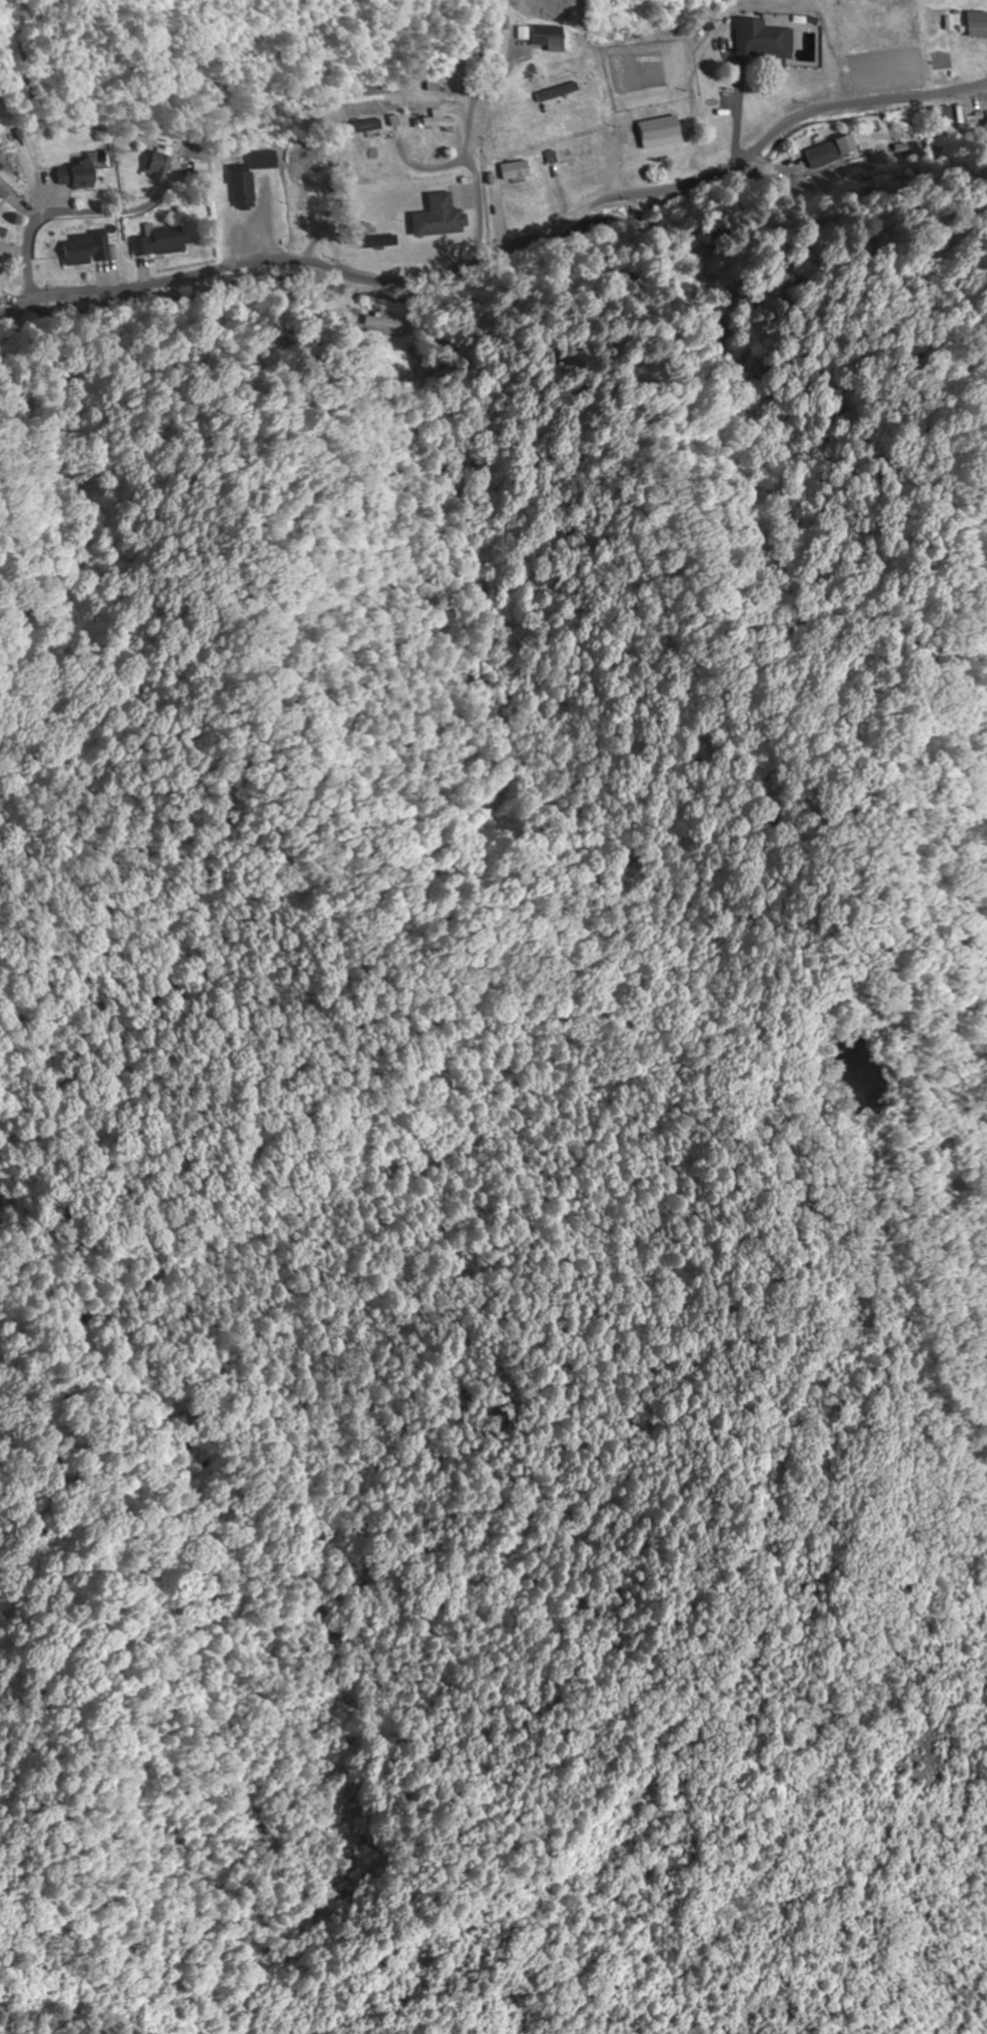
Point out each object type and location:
building: (980, 25)
building: (546, 36)
building: (768, 41)
building: (441, 121)
building: (368, 127)
building: (580, 152)
building: (827, 153)
building: (161, 163)
building: (517, 171)
road: (473, 172)
building: (80, 176)
building: (252, 177)
building: (6, 189)
building: (440, 218)
building: (382, 242)
building: (162, 243)
road: (503, 248)
building: (88, 250)
building: (381, 323)

